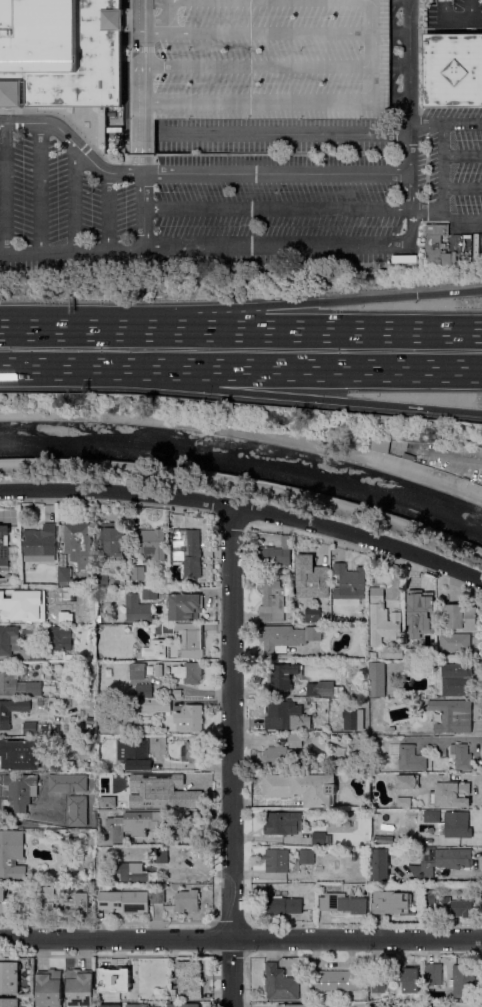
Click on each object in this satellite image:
road: (271, 0)
road: (432, 2)
road: (471, 10)
parking lot: (455, 14)
road: (169, 15)
road: (455, 20)
road: (125, 21)
road: (156, 26)
road: (270, 32)
road: (399, 34)
building: (60, 53)
road: (372, 53)
road: (143, 60)
building: (257, 61)
parking garage: (257, 61)
road: (257, 67)
building: (453, 70)
road: (399, 73)
road: (399, 98)
road: (253, 101)
road: (409, 117)
road: (445, 124)
road: (272, 133)
road: (142, 137)
road: (462, 156)
road: (142, 164)
road: (195, 174)
road: (443, 182)
road: (40, 188)
road: (6, 189)
road: (462, 189)
road: (75, 197)
road: (276, 209)
road: (144, 210)
road: (108, 211)
road: (458, 222)
road: (279, 245)
building: (436, 245)
road: (72, 251)
road: (312, 301)
road: (240, 331)
road: (45, 368)
road: (286, 369)
road: (285, 396)
road: (245, 434)
building: (379, 444)
river: (245, 461)
road: (245, 485)
road: (246, 507)
building: (4, 531)
building: (113, 541)
building: (41, 544)
building: (80, 544)
building: (153, 544)
building: (129, 551)
building: (188, 551)
building: (8, 556)
building: (275, 557)
building: (98, 565)
building: (139, 573)
building: (65, 576)
building: (272, 576)
building: (312, 578)
building: (101, 579)
building: (110, 580)
building: (85, 582)
building: (350, 585)
building: (150, 594)
building: (31, 603)
building: (271, 603)
building: (185, 606)
building: (138, 610)
building: (313, 615)
building: (461, 616)
building: (423, 617)
building: (383, 619)
building: (286, 637)
building: (60, 638)
building: (186, 638)
building: (7, 640)
building: (434, 641)
building: (456, 643)
building: (106, 648)
building: (151, 651)
building: (392, 652)
building: (410, 653)
building: (38, 654)
building: (422, 654)
building: (69, 657)
building: (159, 670)
building: (137, 671)
building: (189, 673)
building: (283, 676)
building: (377, 679)
building: (458, 680)
building: (18, 686)
building: (323, 689)
building: (144, 691)
building: (175, 694)
building: (131, 702)
building: (40, 703)
building: (158, 706)
building: (285, 716)
building: (453, 716)
building: (5, 719)
building: (191, 719)
building: (354, 719)
building: (159, 724)
building: (30, 729)
building: (391, 731)
road: (447, 738)
building: (191, 751)
building: (283, 753)
road: (474, 753)
building: (21, 754)
building: (135, 754)
road: (232, 755)
building: (462, 756)
building: (411, 759)
building: (119, 777)
building: (101, 779)
building: (408, 782)
building: (302, 788)
building: (146, 789)
building: (21, 791)
building: (450, 794)
building: (188, 795)
building: (404, 802)
building: (54, 804)
building: (100, 816)
building: (431, 816)
building: (283, 823)
building: (133, 824)
building: (457, 825)
building: (64, 831)
building: (320, 838)
building: (12, 856)
building: (161, 856)
building: (306, 857)
building: (277, 861)
building: (442, 861)
building: (381, 865)
building: (133, 872)
road: (444, 877)
building: (158, 897)
building: (430, 897)
building: (188, 901)
building: (124, 902)
building: (65, 903)
building: (8, 904)
building: (343, 904)
building: (389, 904)
building: (284, 906)
building: (456, 908)
road: (241, 938)
building: (434, 974)
building: (10, 978)
building: (405, 979)
building: (114, 980)
building: (190, 980)
building: (338, 981)
building: (463, 982)
building: (280, 983)
building: (378, 984)
building: (49, 988)
building: (80, 988)
building: (173, 994)
building: (381, 998)
building: (305, 999)
building: (9, 1002)
building: (108, 1005)
building: (138, 1005)
building: (184, 1005)
building: (374, 1005)
building: (294, 1006)

